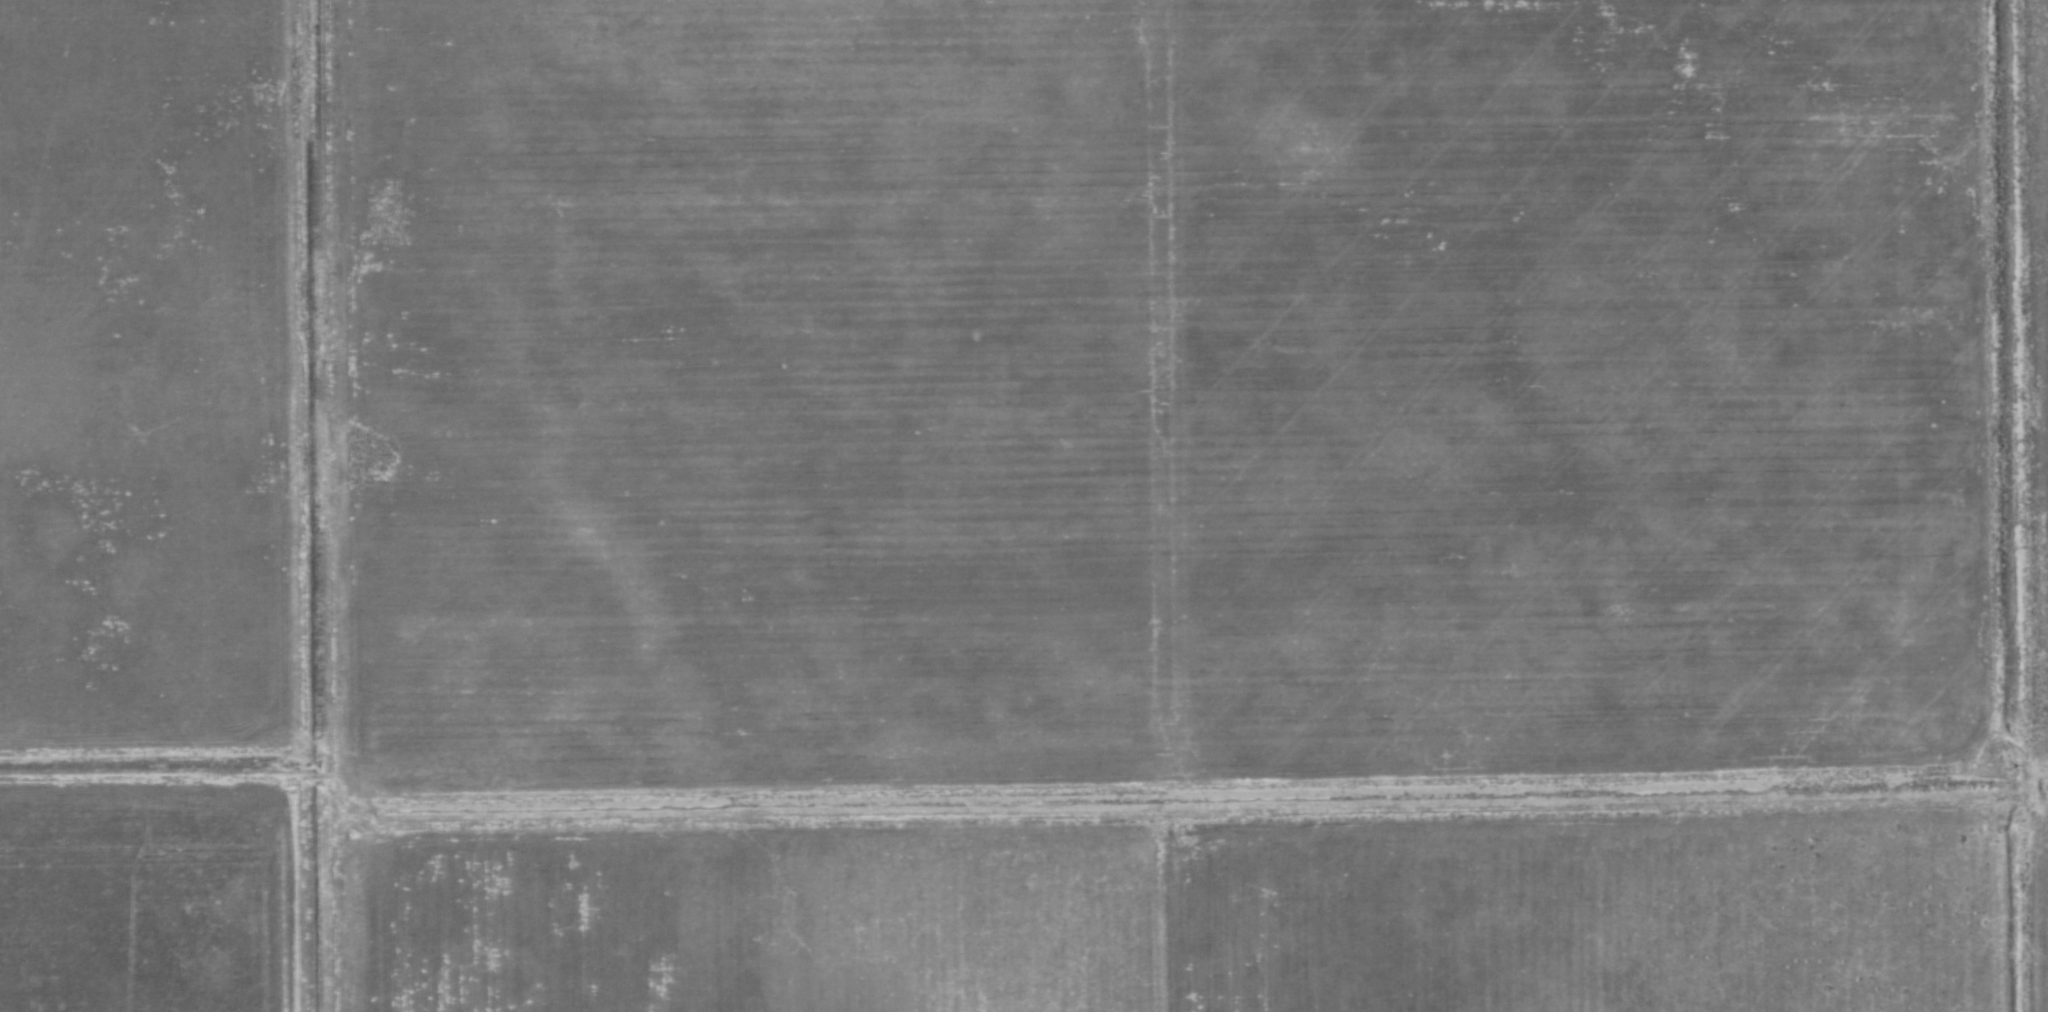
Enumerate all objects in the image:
crop: (1055, 492)
park: (1198, 505)

